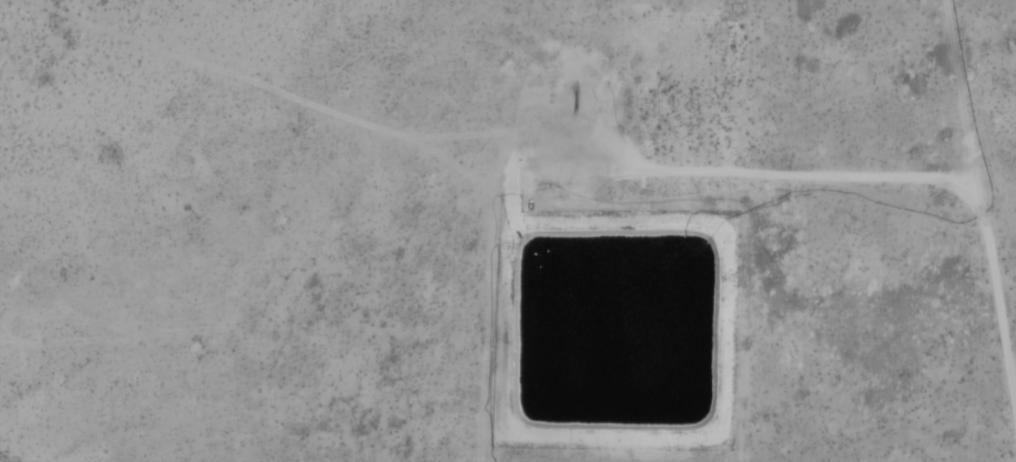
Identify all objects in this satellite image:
road: (742, 173)
road: (977, 211)

